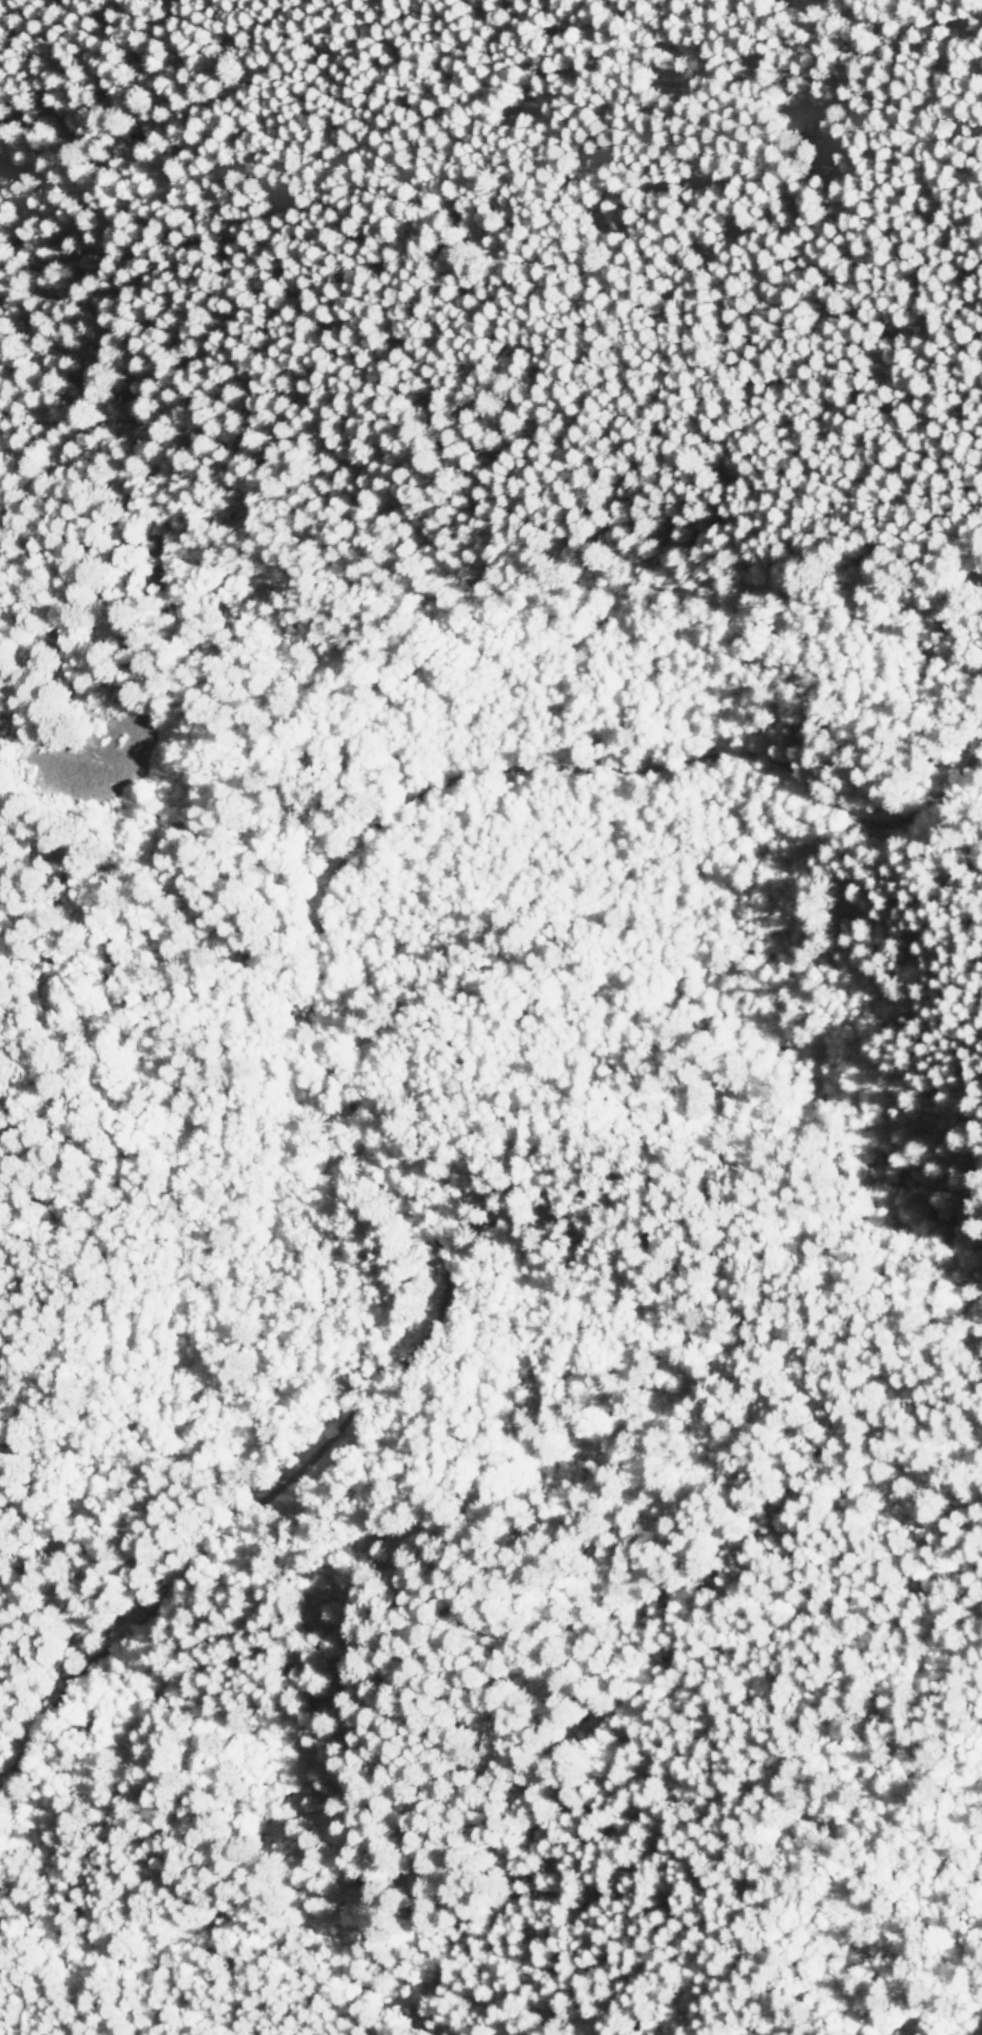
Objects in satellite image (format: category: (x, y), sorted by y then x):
road: (292, 1024)

